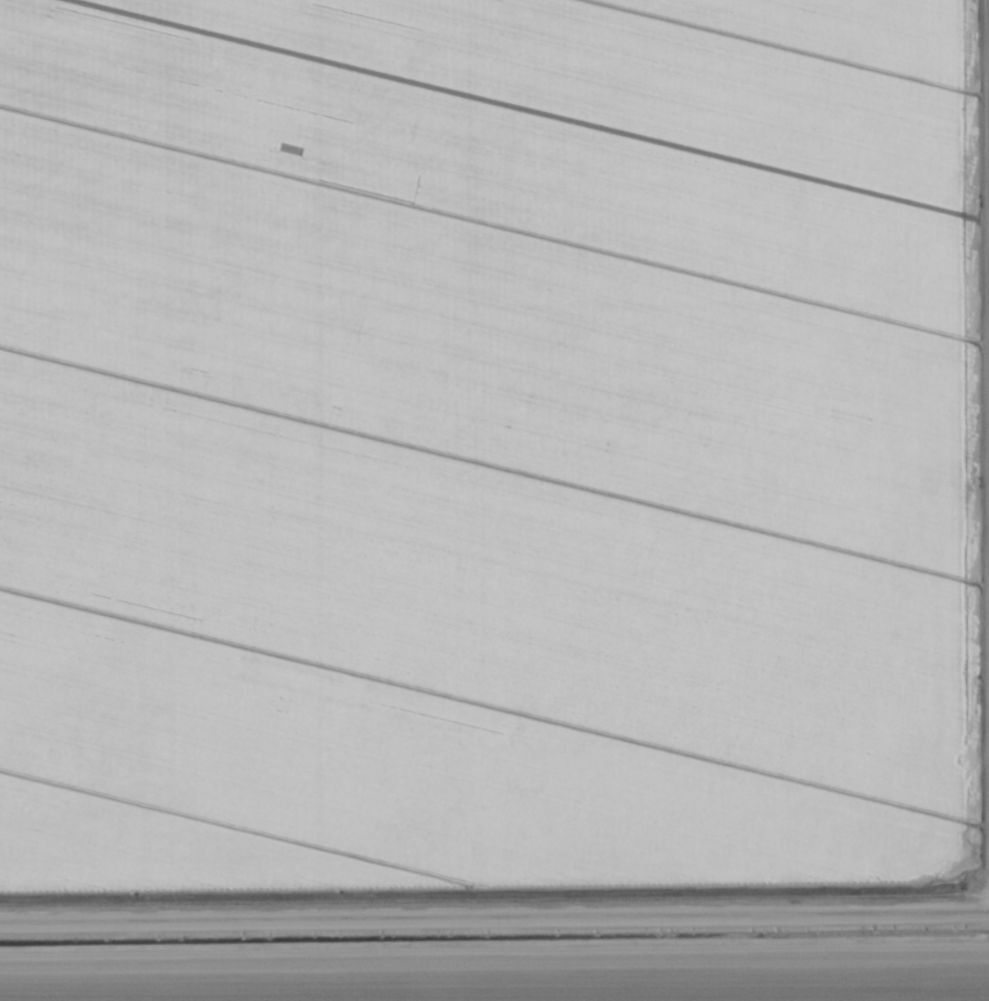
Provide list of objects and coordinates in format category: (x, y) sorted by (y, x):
crop: (494, 500)

